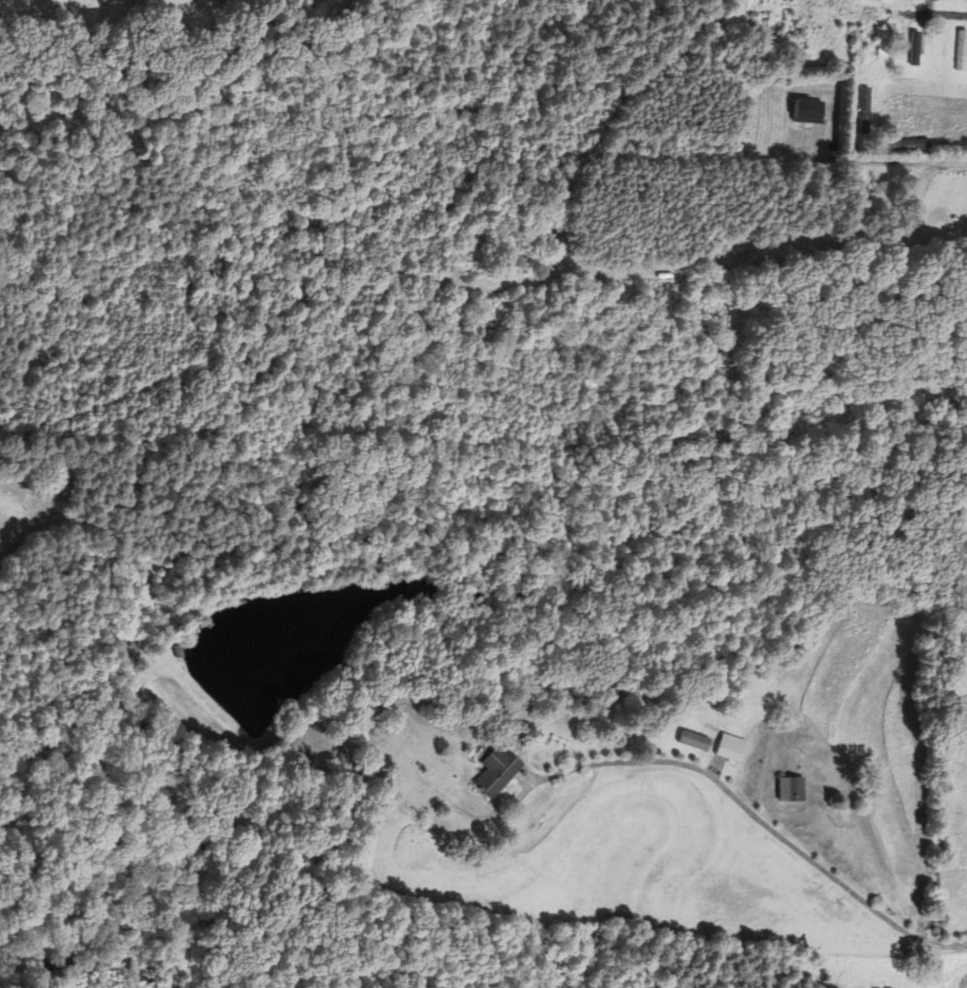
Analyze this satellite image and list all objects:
road: (940, 15)
building: (768, 18)
building: (879, 48)
building: (961, 49)
building: (915, 50)
building: (807, 111)
road: (891, 157)
building: (549, 253)
building: (693, 740)
building: (729, 746)
building: (496, 770)
building: (788, 789)
road: (762, 819)

